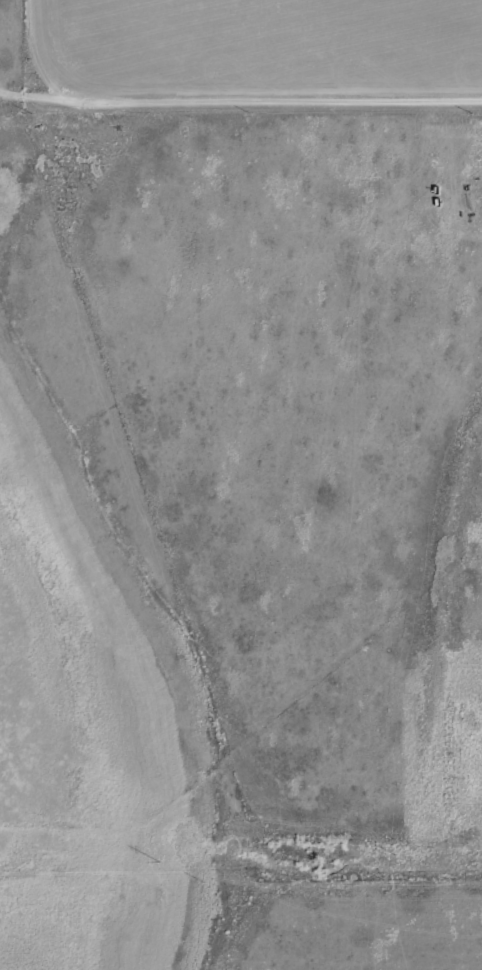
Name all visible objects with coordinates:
road: (15, 25)
road: (234, 91)

